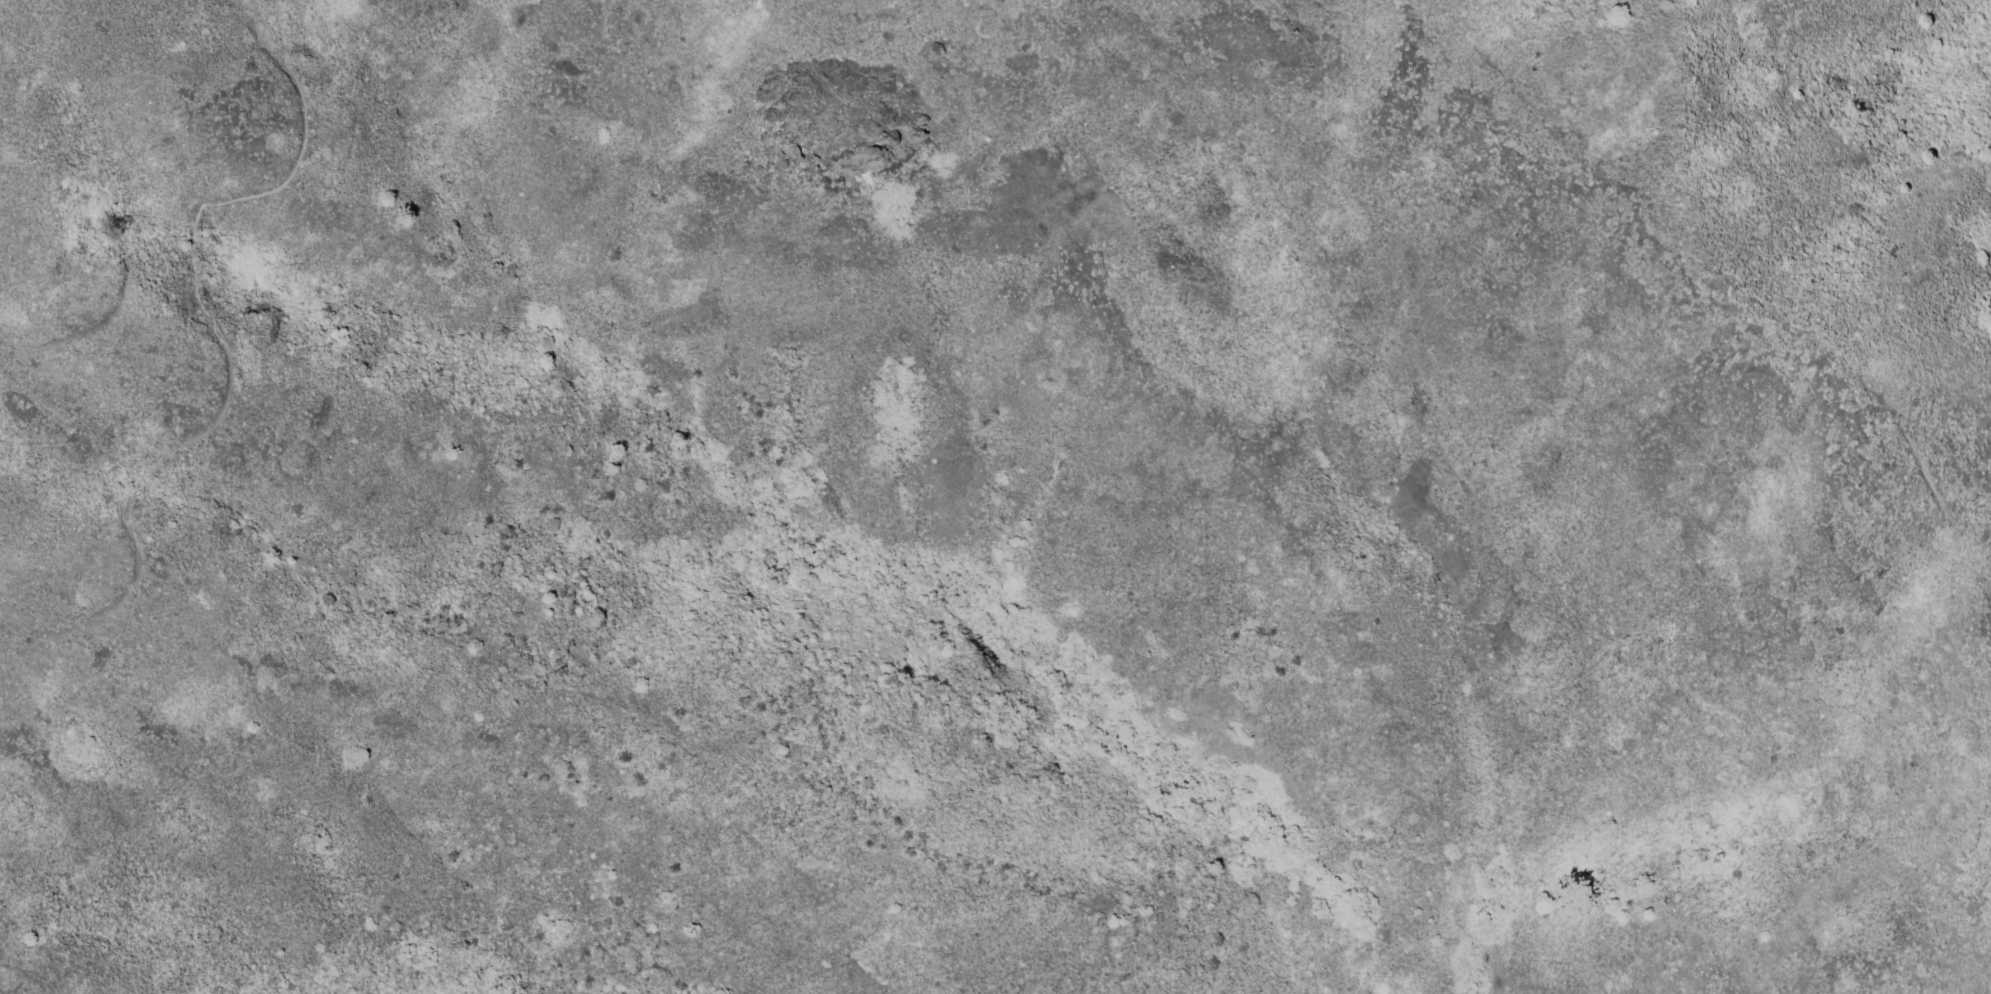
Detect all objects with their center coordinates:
road: (856, 41)
road: (227, 389)

